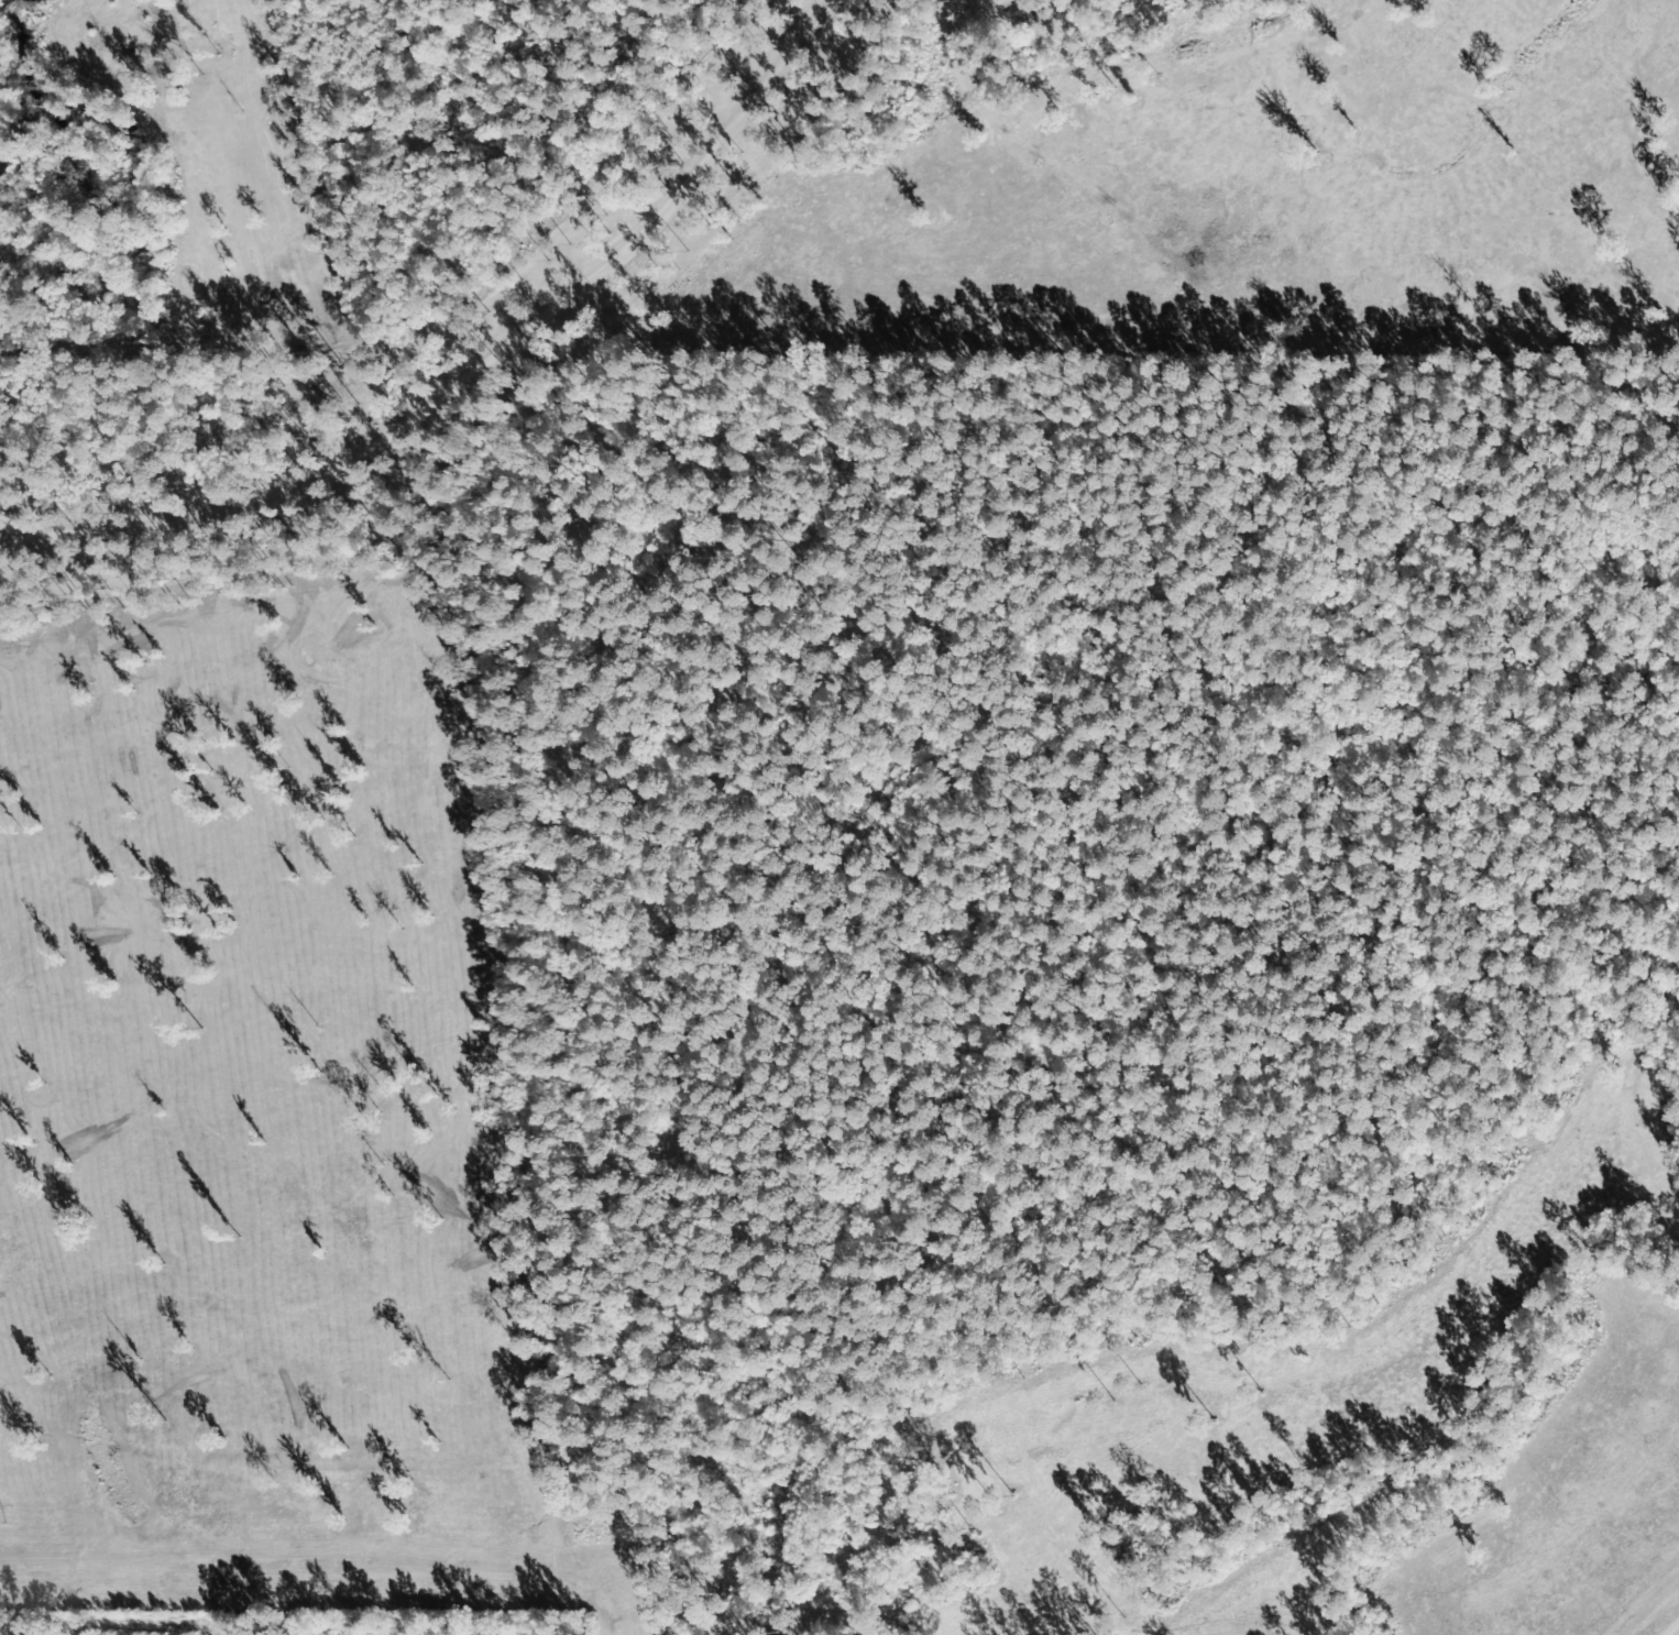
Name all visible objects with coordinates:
road: (473, 367)
road: (1657, 1617)

